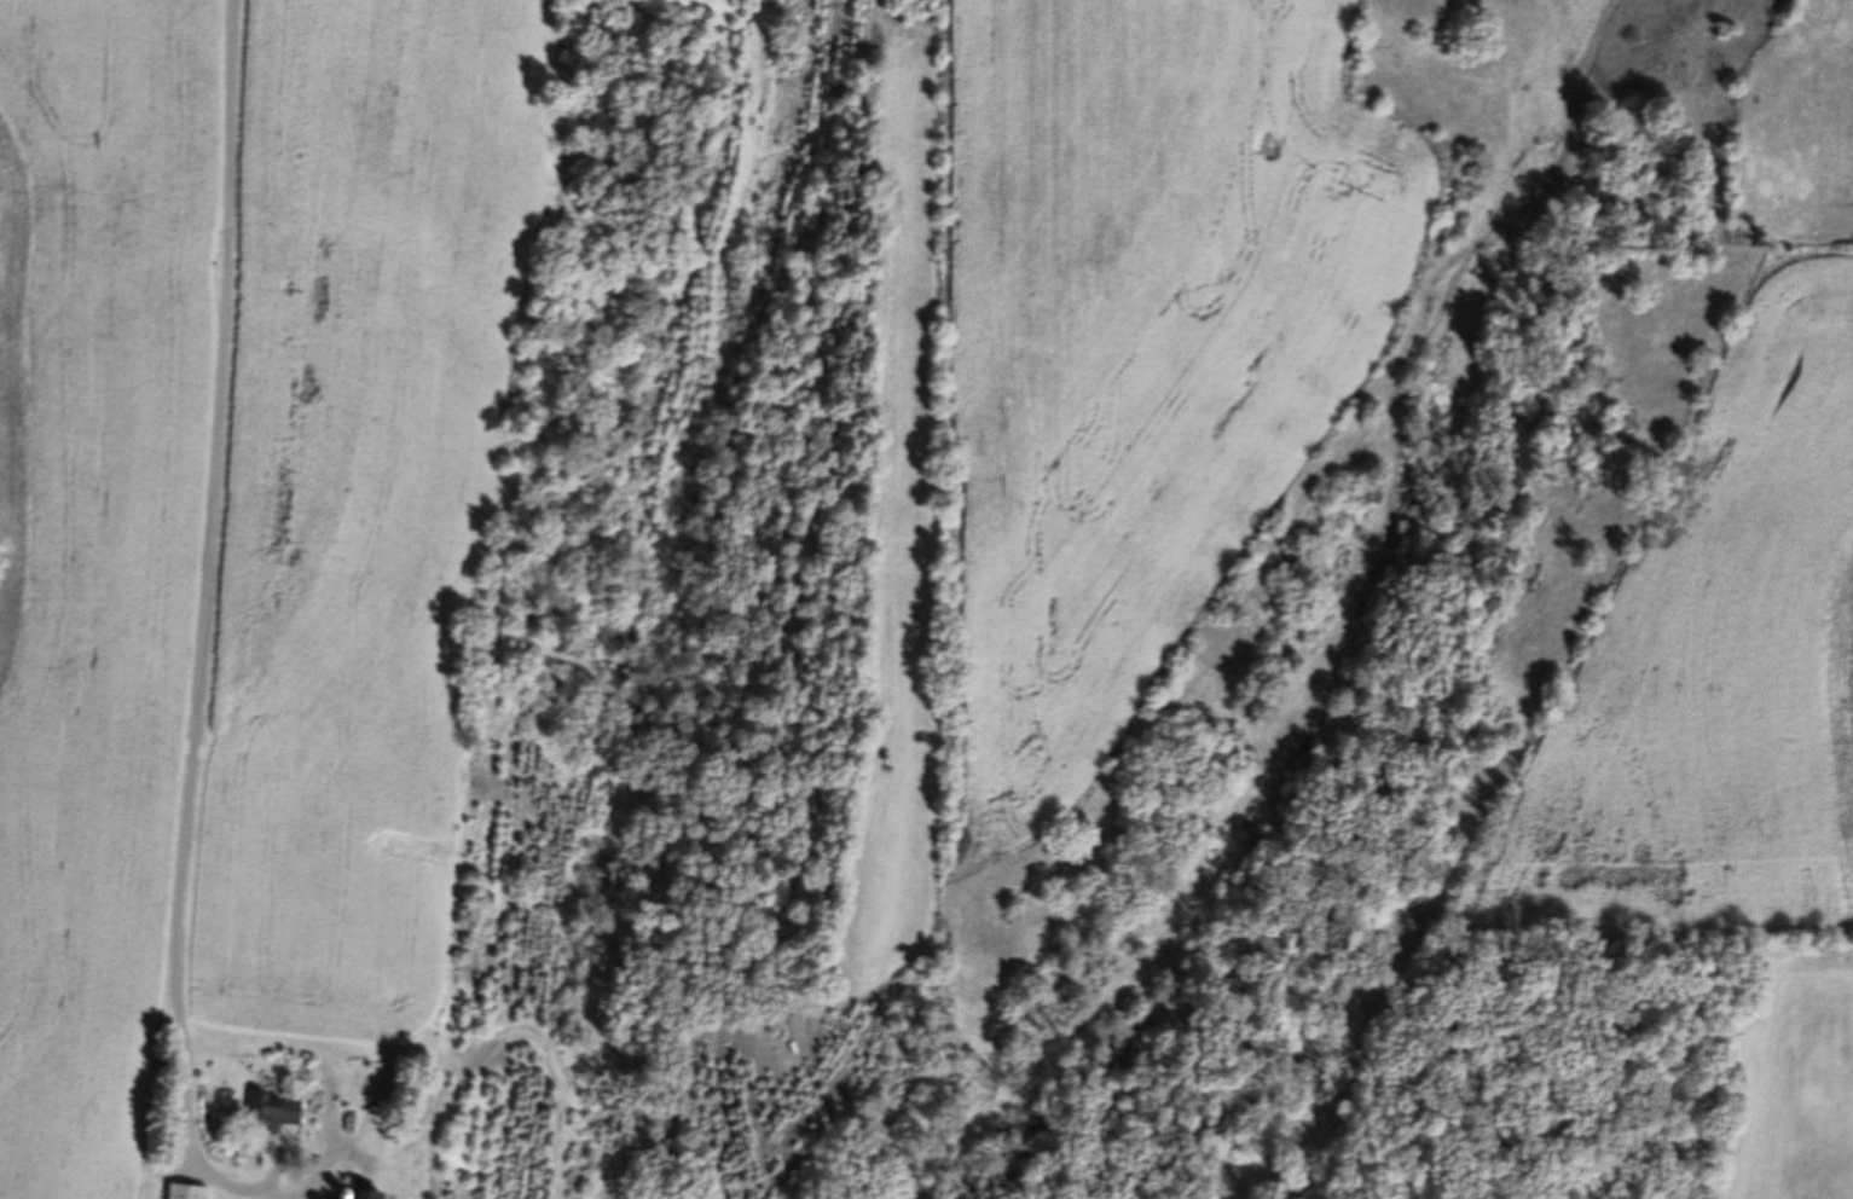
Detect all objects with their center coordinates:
road: (209, 502)
building: (277, 1113)
building: (187, 1191)
building: (370, 1194)

